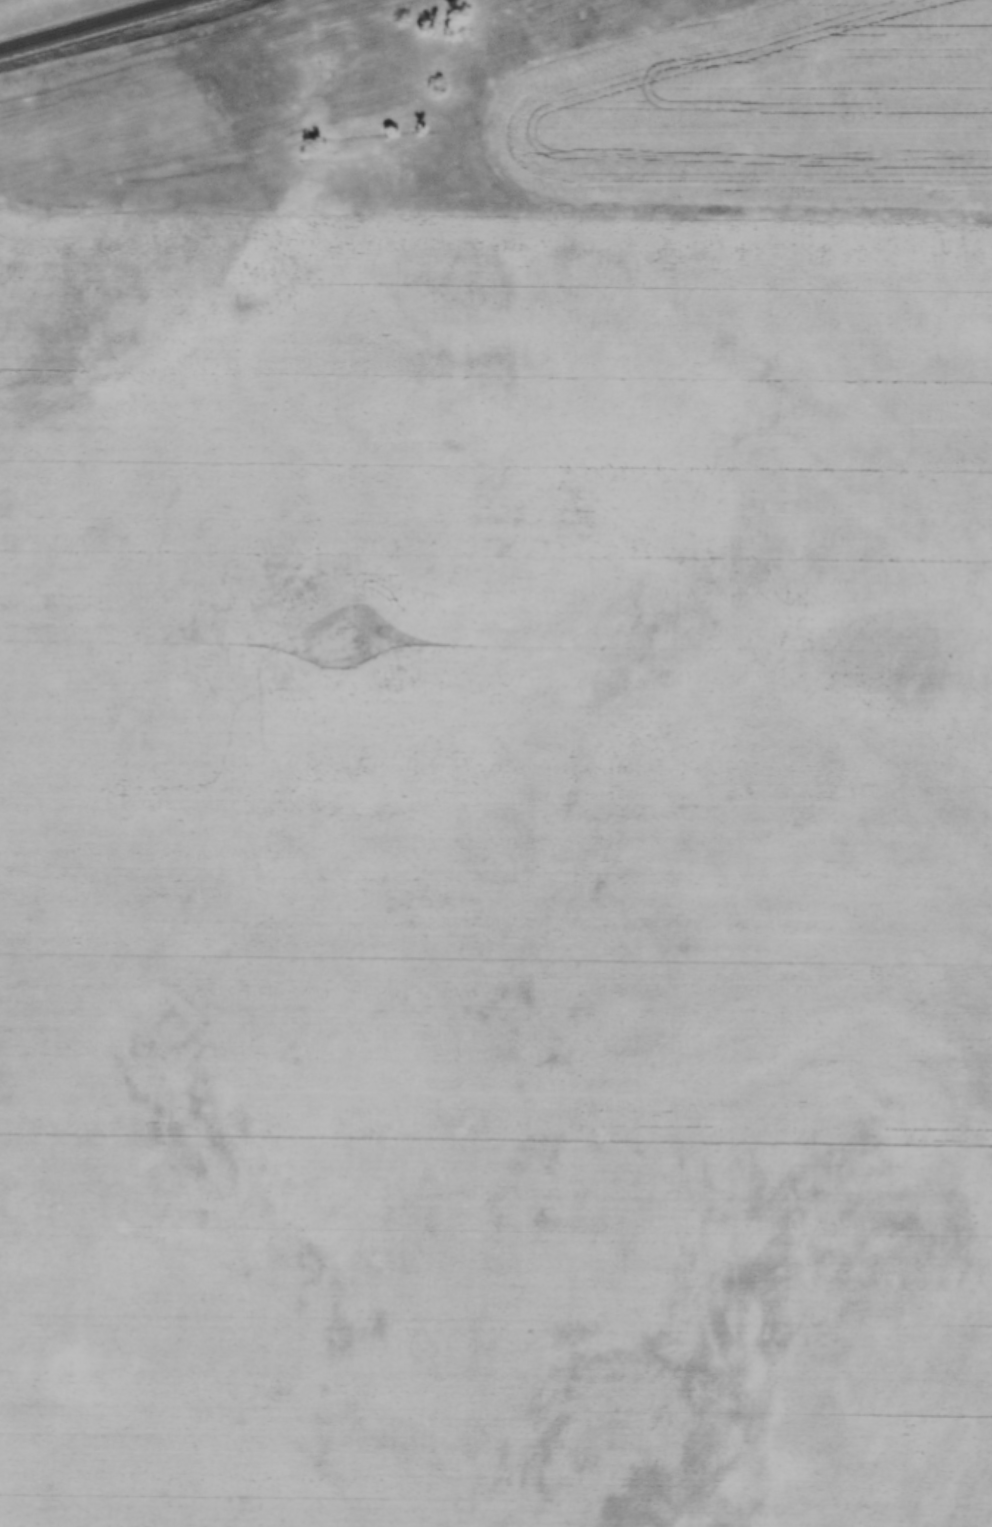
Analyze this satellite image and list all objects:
railway: (114, 30)

